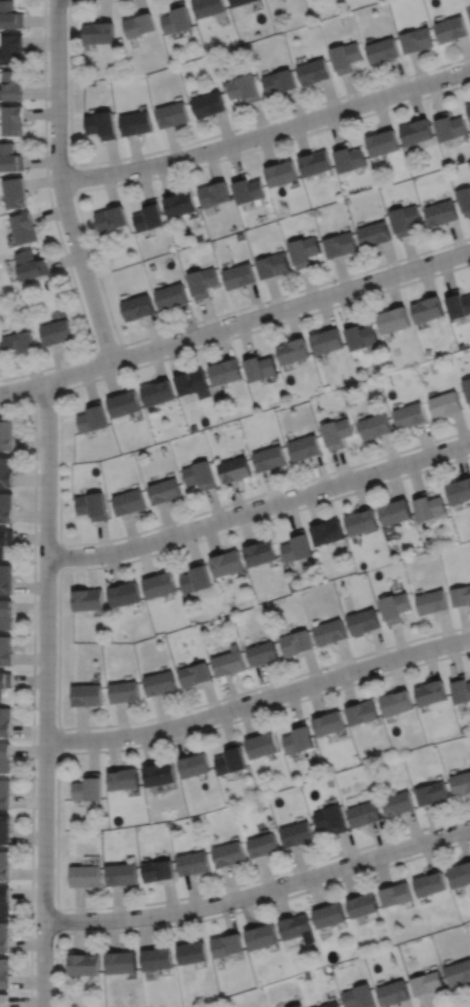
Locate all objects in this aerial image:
road: (69, 1)
building: (240, 2)
building: (209, 7)
building: (468, 9)
building: (9, 15)
building: (177, 18)
building: (139, 24)
building: (450, 28)
building: (98, 32)
building: (416, 39)
building: (12, 49)
building: (382, 50)
building: (346, 57)
street lamp: (444, 67)
street lamp: (47, 70)
building: (315, 71)
building: (280, 82)
building: (13, 85)
building: (245, 88)
street lamp: (343, 98)
building: (210, 104)
building: (468, 109)
building: (173, 115)
building: (13, 120)
building: (137, 123)
building: (102, 125)
building: (448, 126)
street lamp: (237, 131)
building: (415, 131)
road: (266, 132)
building: (383, 142)
road: (174, 146)
building: (10, 158)
building: (349, 158)
street lamp: (125, 160)
street lamp: (70, 162)
building: (316, 163)
building: (283, 174)
road: (72, 175)
road: (60, 184)
building: (248, 189)
building: (15, 193)
building: (215, 195)
building: (464, 200)
building: (181, 204)
building: (440, 213)
building: (149, 217)
building: (111, 219)
building: (405, 219)
road: (57, 226)
building: (24, 229)
building: (375, 234)
building: (341, 245)
road: (90, 246)
building: (305, 251)
building: (30, 266)
building: (273, 267)
street lamp: (434, 272)
building: (240, 277)
street lamp: (97, 278)
street lamp: (336, 282)
building: (203, 283)
building: (172, 297)
building: (457, 303)
building: (138, 308)
building: (427, 308)
road: (255, 316)
building: (394, 320)
building: (57, 333)
street lamp: (232, 335)
building: (361, 336)
building: (327, 342)
building: (19, 343)
street lamp: (127, 346)
road: (106, 349)
building: (293, 350)
building: (261, 365)
building: (226, 369)
building: (194, 381)
building: (467, 386)
road: (20, 387)
building: (159, 390)
road: (45, 394)
street lamp: (23, 397)
building: (125, 402)
building: (445, 402)
building: (409, 413)
building: (94, 416)
building: (374, 424)
building: (338, 431)
building: (7, 433)
street lamp: (437, 441)
building: (306, 446)
building: (271, 457)
road: (60, 465)
street lamp: (57, 466)
building: (236, 467)
building: (7, 470)
building: (201, 473)
building: (165, 489)
building: (459, 489)
street lamp: (335, 494)
building: (130, 500)
building: (93, 504)
building: (428, 504)
building: (7, 506)
road: (260, 506)
street lamp: (226, 507)
building: (395, 510)
building: (361, 520)
building: (329, 531)
building: (5, 539)
building: (299, 545)
building: (262, 552)
street lamp: (137, 555)
road: (60, 556)
building: (228, 562)
street lamp: (57, 574)
building: (197, 577)
building: (7, 578)
building: (161, 584)
building: (125, 593)
building: (461, 594)
building: (89, 598)
building: (432, 600)
building: (394, 606)
building: (6, 613)
building: (362, 620)
building: (328, 631)
building: (296, 641)
road: (59, 647)
building: (6, 650)
building: (265, 652)
street lamp: (440, 655)
building: (230, 661)
street lamp: (37, 668)
street lamp: (324, 669)
building: (197, 673)
building: (5, 681)
building: (161, 683)
road: (33, 685)
building: (460, 688)
building: (125, 691)
building: (430, 692)
road: (46, 694)
building: (86, 694)
road: (259, 699)
building: (395, 702)
building: (361, 712)
street lamp: (236, 718)
building: (5, 721)
building: (327, 722)
street lamp: (112, 727)
building: (297, 738)
road: (59, 740)
building: (262, 744)
building: (5, 757)
building: (232, 759)
building: (195, 765)
building: (159, 774)
street lamp: (34, 776)
building: (123, 779)
building: (460, 782)
building: (88, 788)
building: (430, 793)
building: (5, 794)
building: (397, 803)
building: (363, 813)
building: (329, 819)
building: (5, 829)
road: (57, 829)
street lamp: (424, 831)
building: (295, 834)
building: (262, 845)
building: (229, 854)
building: (194, 863)
building: (5, 866)
building: (158, 871)
building: (122, 875)
building: (459, 875)
building: (85, 877)
street lamp: (333, 879)
building: (429, 884)
road: (260, 891)
street lamp: (220, 892)
building: (395, 895)
street lamp: (54, 901)
building: (5, 902)
building: (362, 905)
road: (230, 912)
building: (328, 916)
road: (57, 920)
building: (296, 928)
street lamp: (102, 929)
building: (260, 937)
building: (5, 938)
building: (227, 945)
building: (192, 953)
building: (157, 960)
building: (121, 963)
building: (84, 965)
building: (4, 973)
building: (457, 973)
building: (426, 984)
building: (392, 993)
building: (358, 997)
building: (4, 1001)
road: (461, 1004)
building: (332, 1005)
building: (298, 1006)

